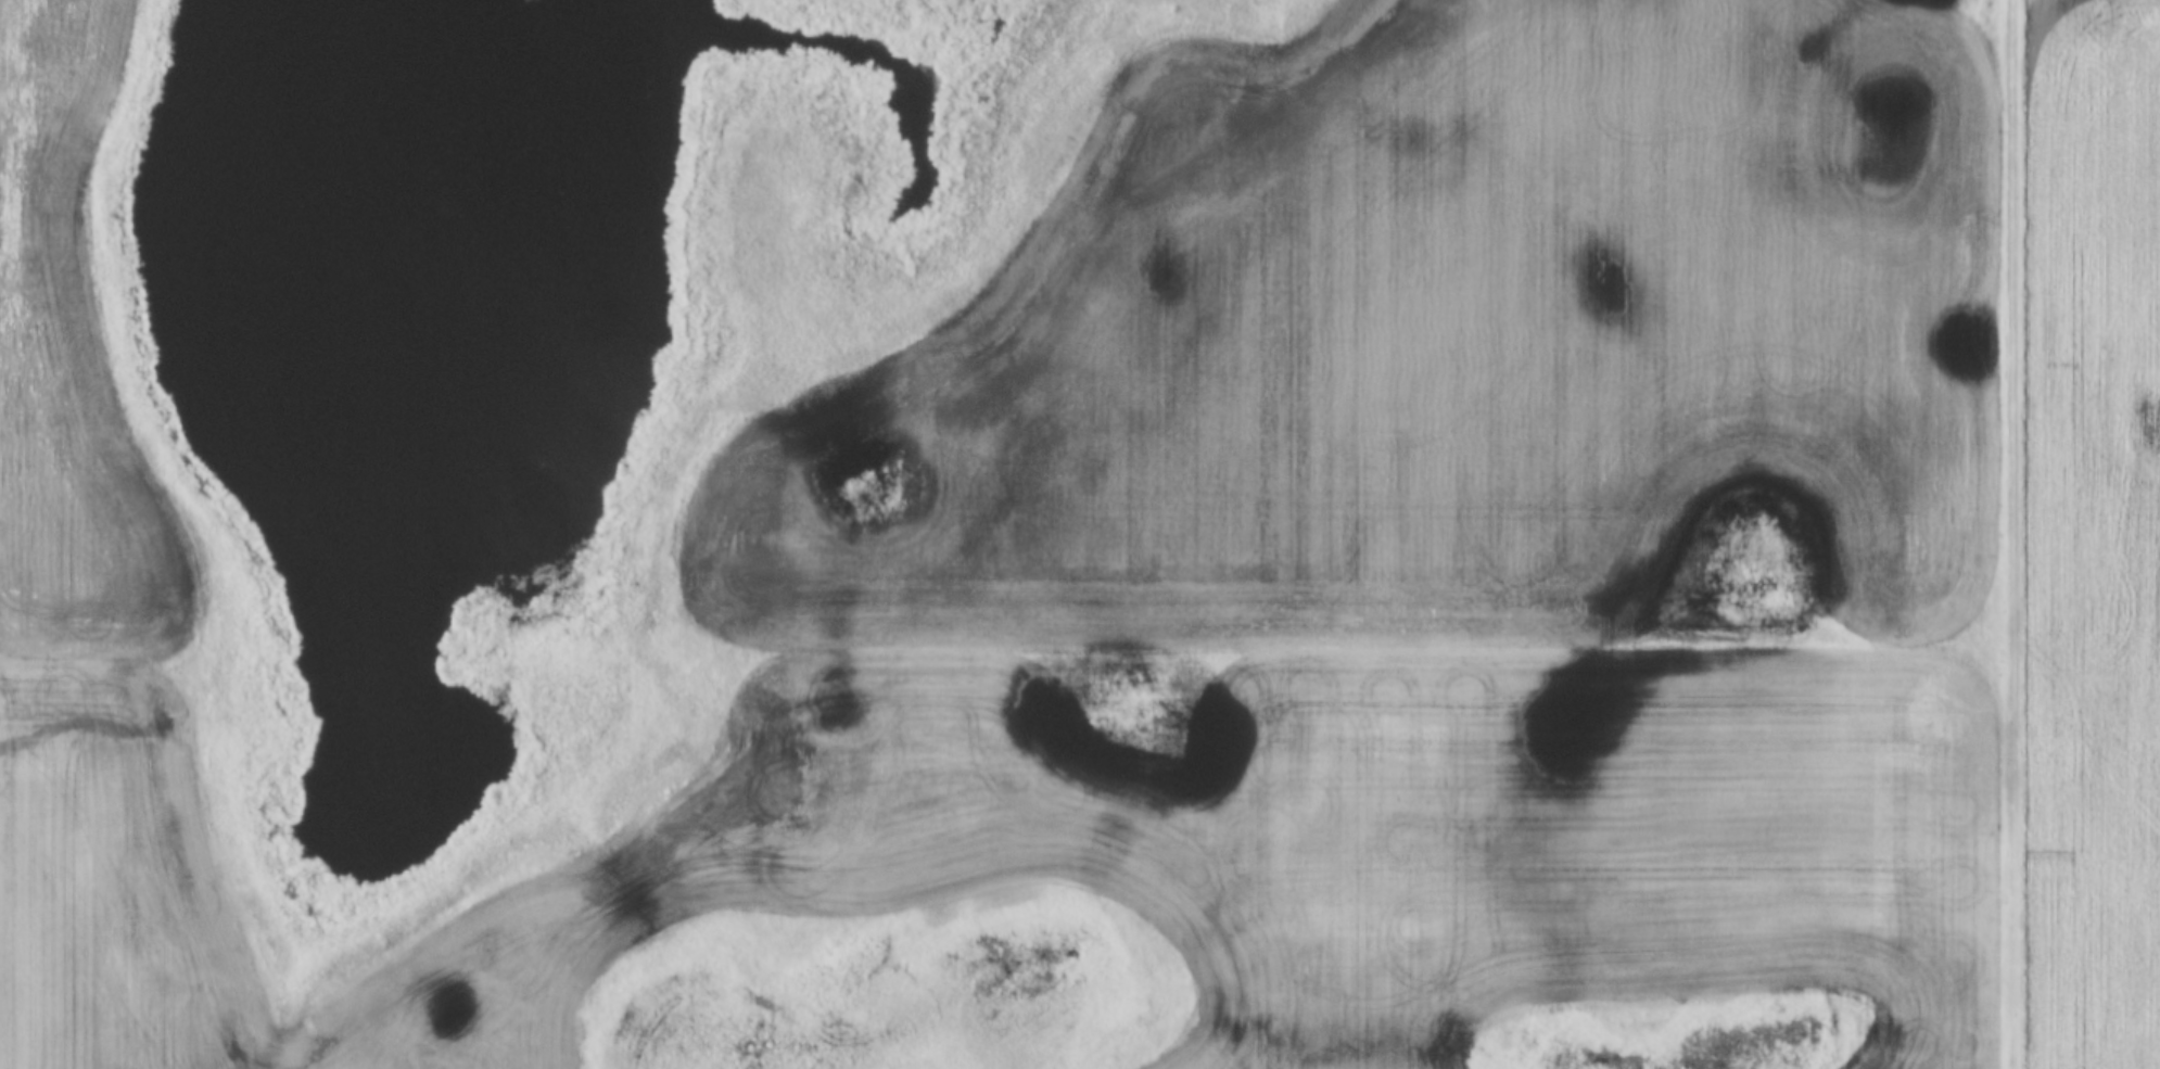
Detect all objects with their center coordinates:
road: (2026, 534)

